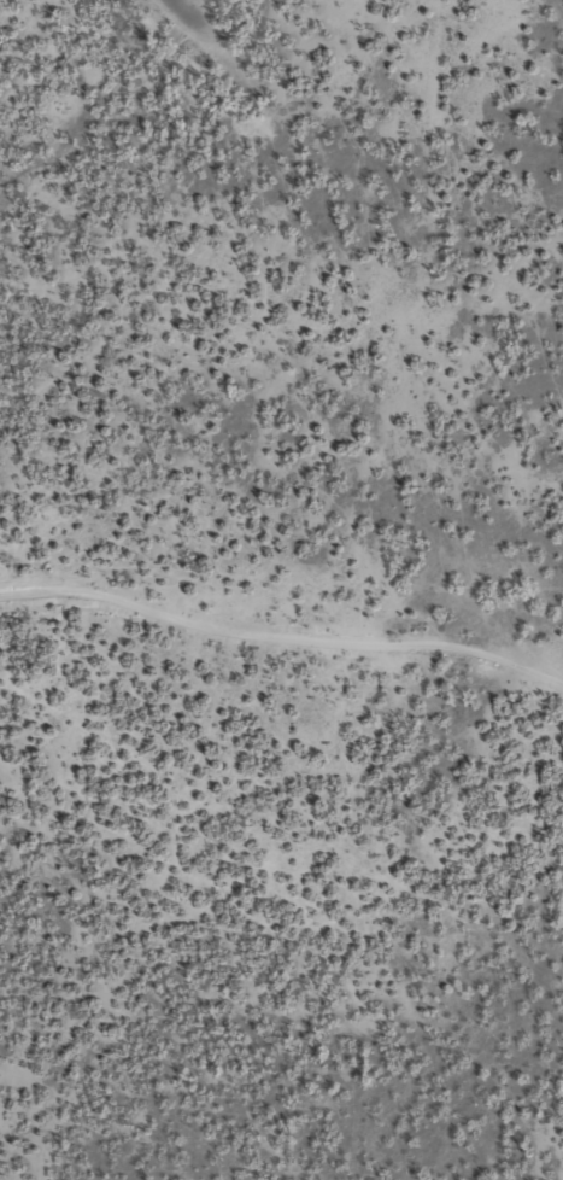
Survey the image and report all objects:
road: (282, 629)

